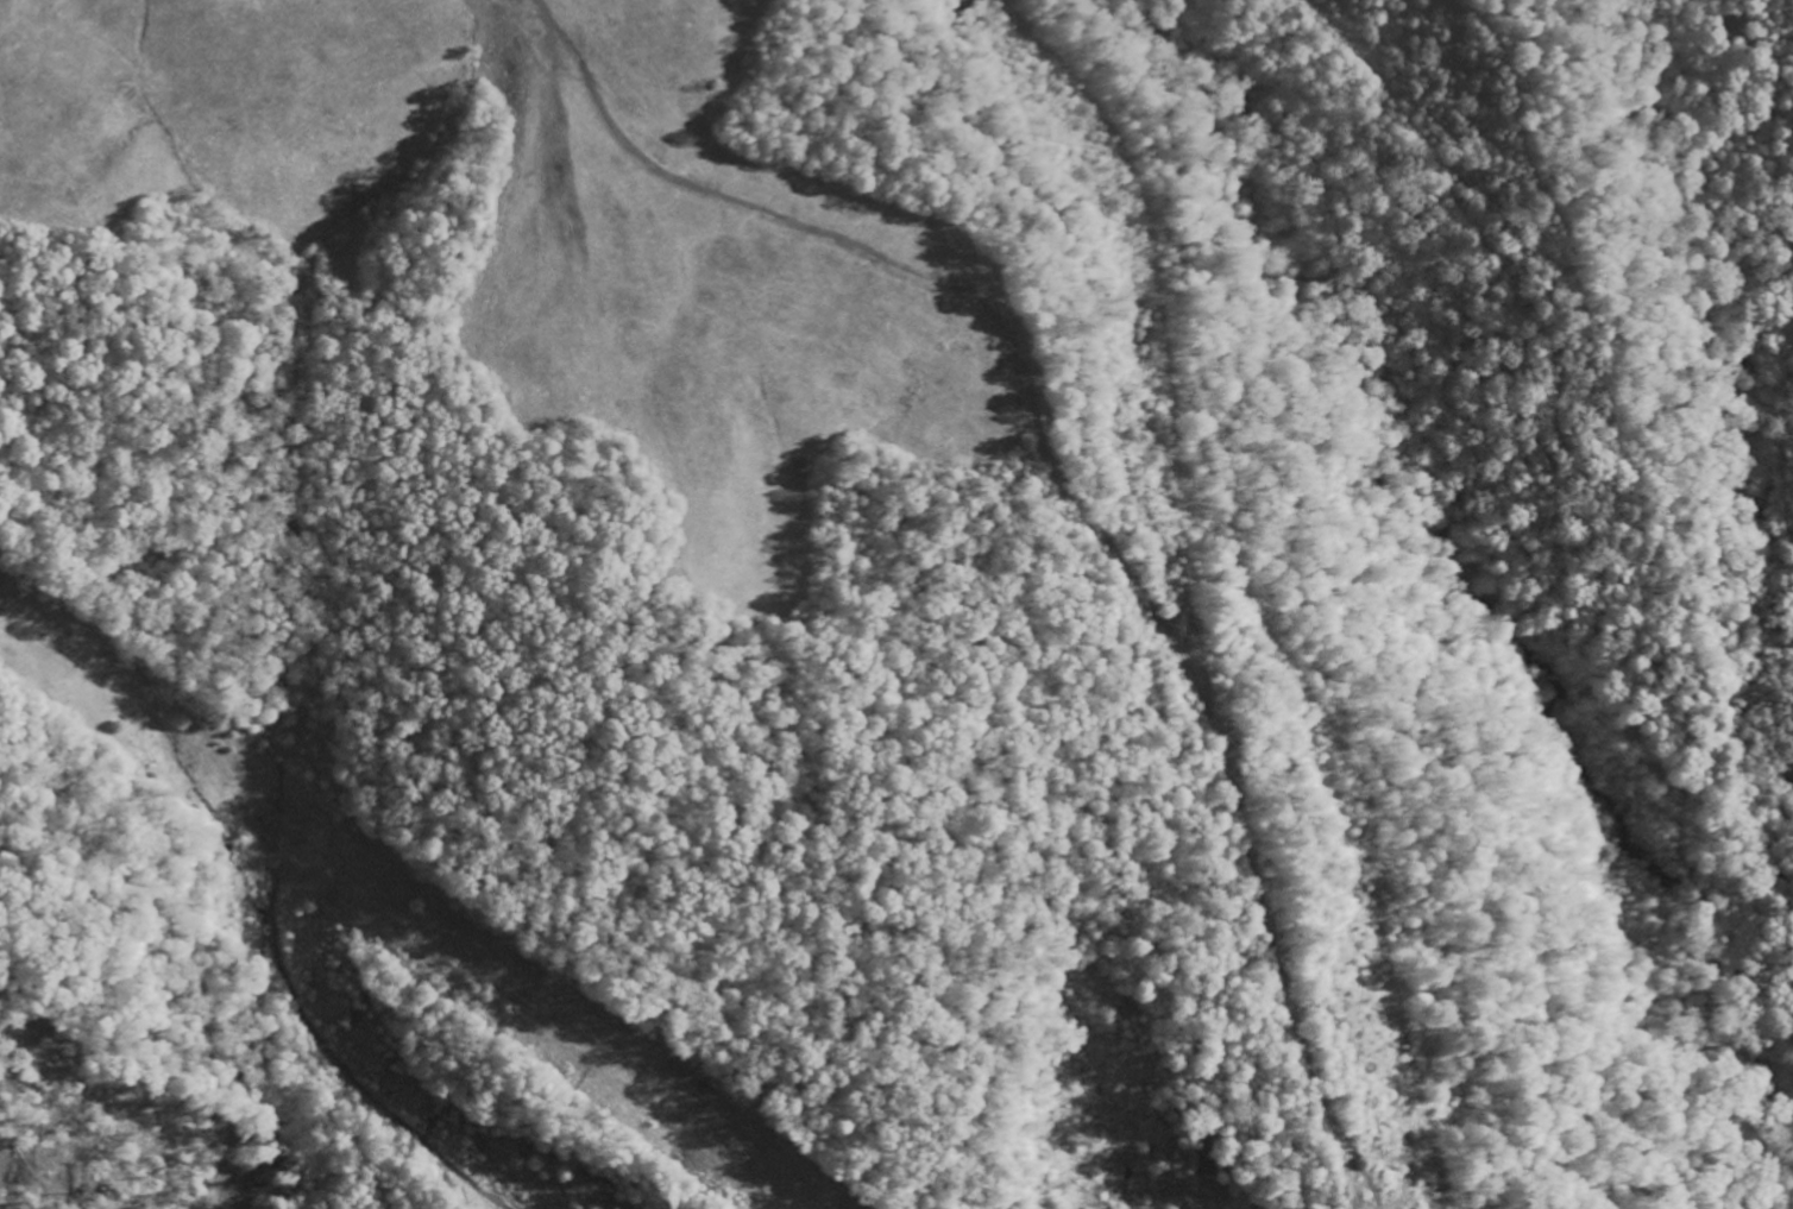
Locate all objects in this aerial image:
road: (799, 221)
power tower: (485, 976)

